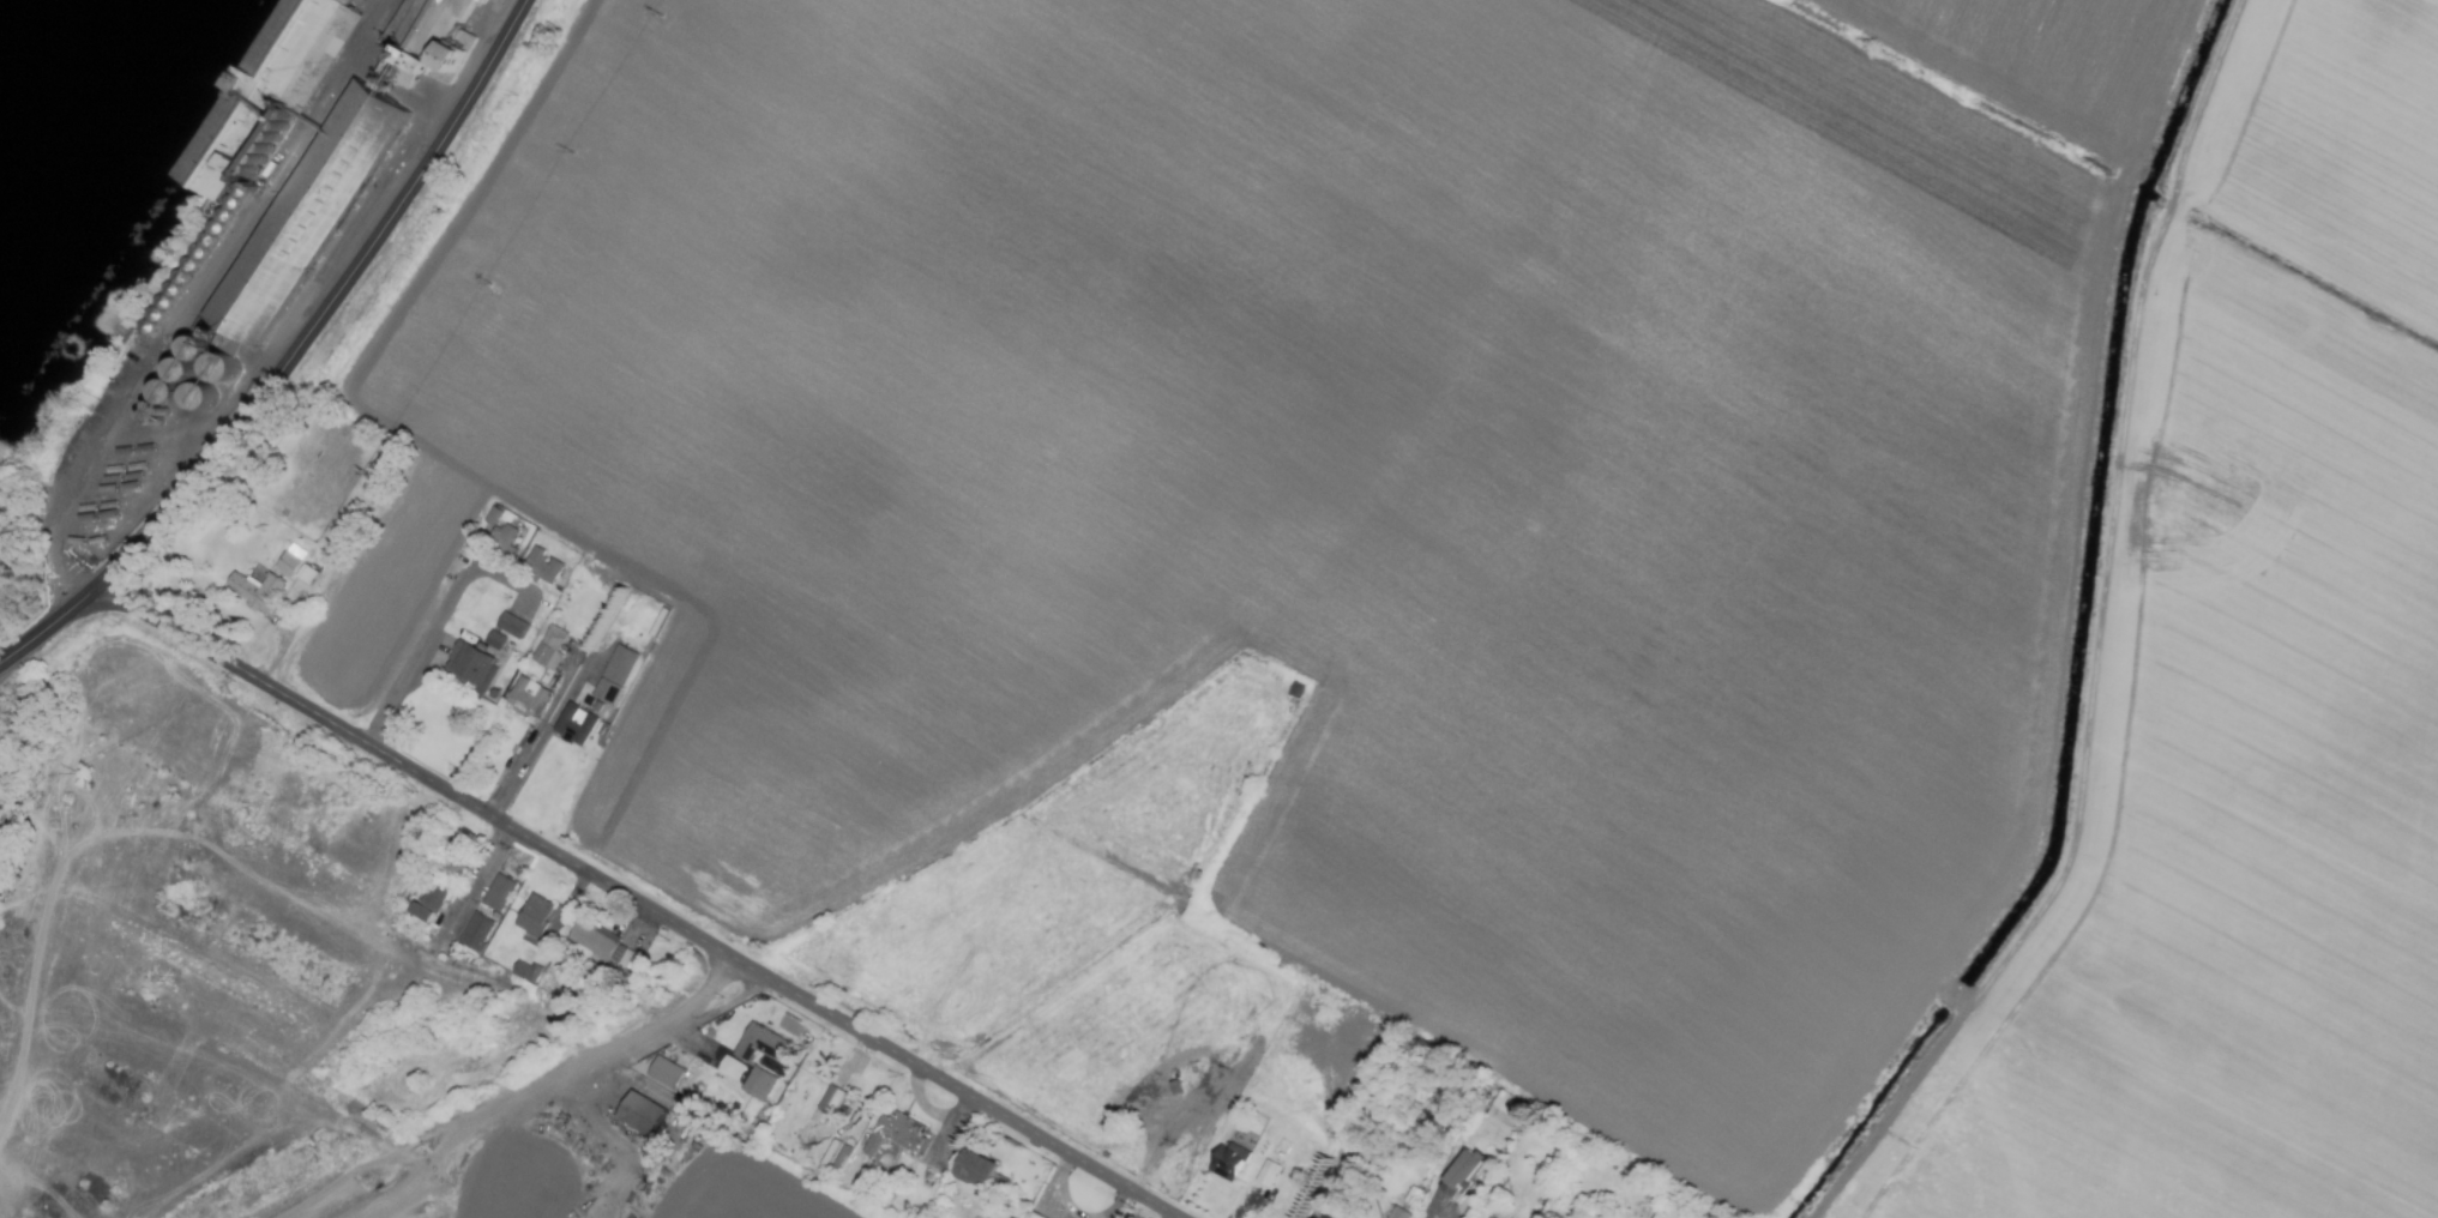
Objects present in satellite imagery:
river: (34, 43)
building: (265, 92)
road: (330, 307)
building: (489, 515)
crop: (1483, 536)
building: (501, 537)
building: (294, 565)
building: (540, 566)
building: (253, 591)
building: (510, 625)
road: (50, 627)
road: (433, 627)
building: (493, 640)
building: (547, 647)
building: (468, 668)
building: (613, 675)
building: (525, 698)
building: (572, 725)
road: (524, 741)
road: (534, 748)
road: (66, 862)
building: (458, 867)
road: (475, 876)
building: (505, 896)
road: (637, 902)
building: (434, 908)
building: (541, 919)
building: (481, 935)
building: (607, 949)
building: (529, 973)
building: (757, 1044)
road: (596, 1049)
building: (728, 1068)
building: (662, 1073)
building: (756, 1085)
building: (830, 1102)
building: (1500, 1113)
building: (637, 1114)
building: (895, 1133)
crop: (549, 1154)
road: (392, 1162)
building: (1224, 1162)
road: (472, 1168)
building: (973, 1169)
building: (1265, 1174)
building: (1458, 1174)
road: (685, 1189)
road: (314, 1205)
building: (1397, 1213)
building: (1488, 1217)

